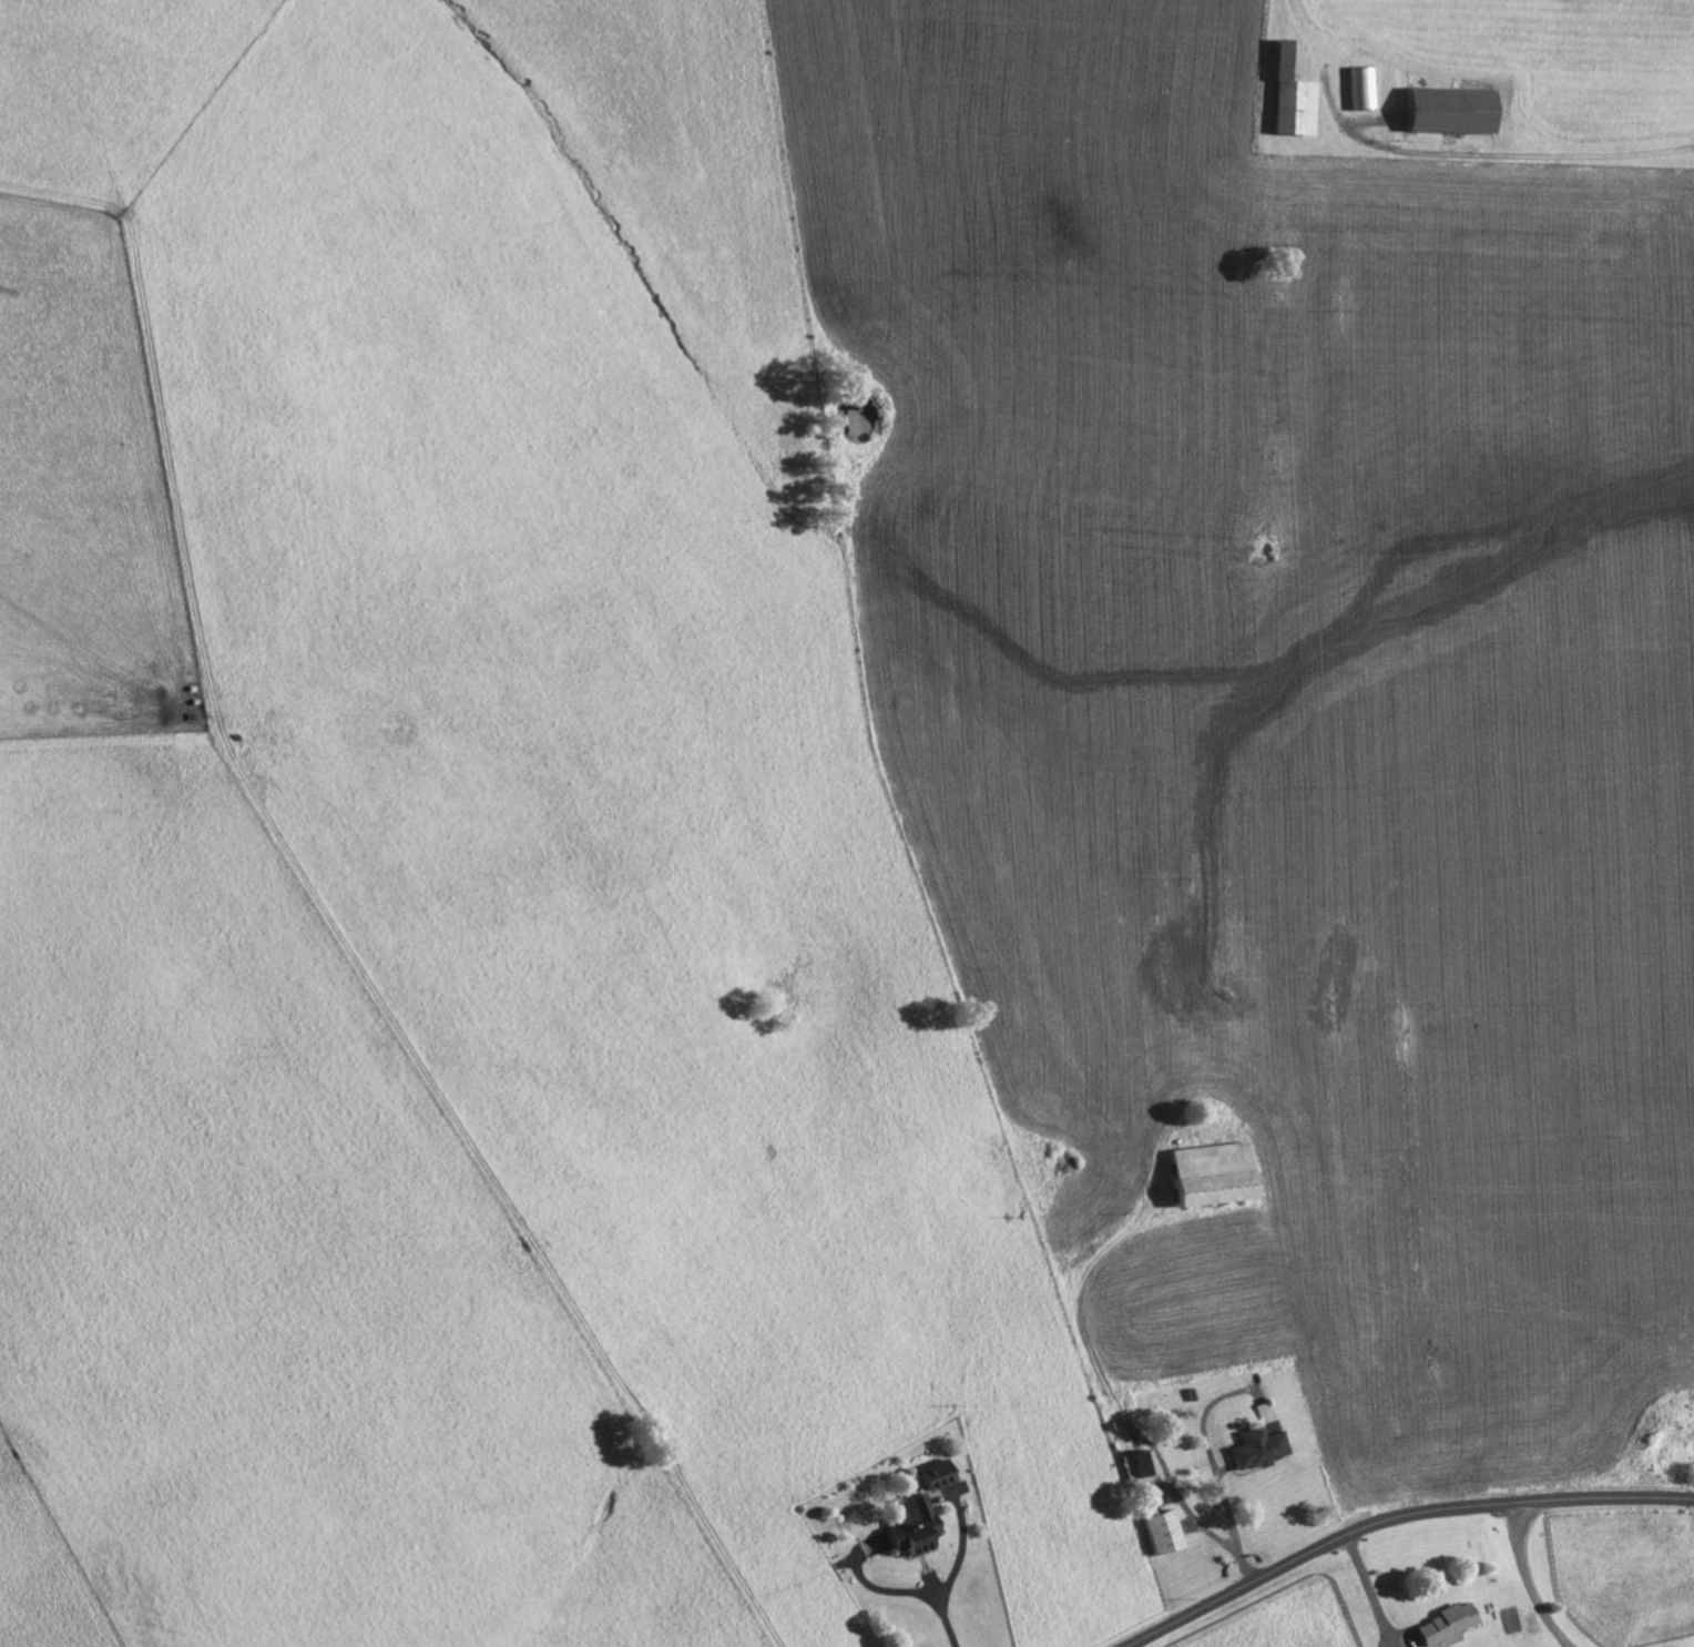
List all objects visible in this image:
building: (1294, 100)
building: (1452, 112)
road: (1525, 156)
building: (1214, 1176)
building: (1259, 1442)
building: (1139, 1470)
building: (936, 1476)
road: (1392, 1515)
building: (912, 1528)
building: (1162, 1534)
road: (1528, 1578)
road: (1369, 1589)
building: (1447, 1625)
building: (1450, 1641)

